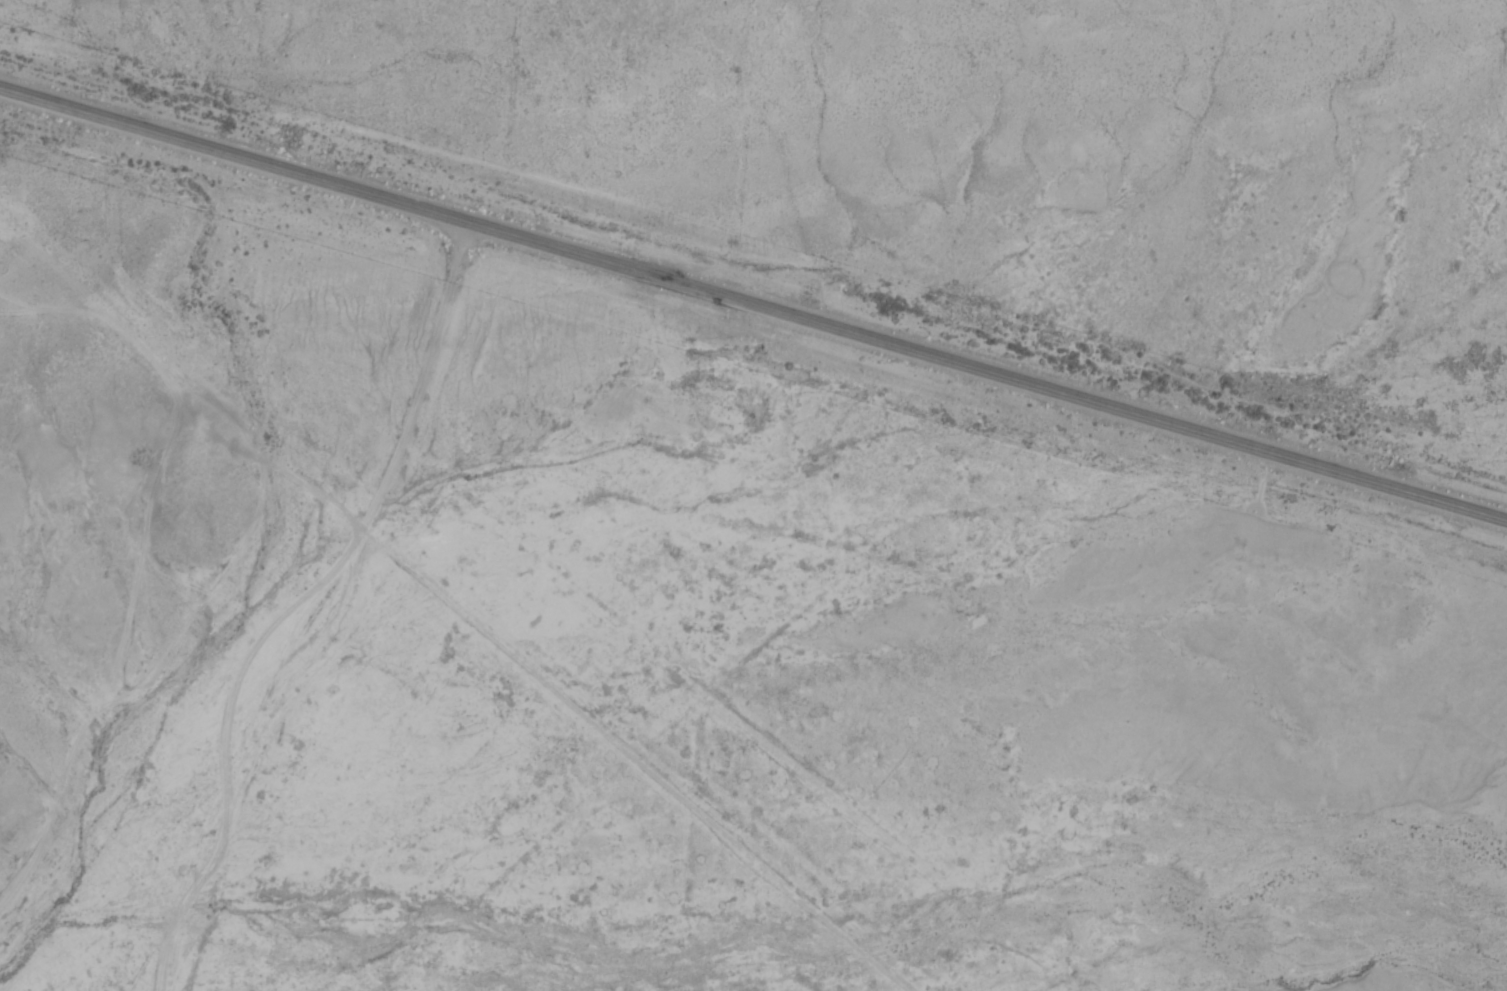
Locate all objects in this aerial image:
road: (753, 304)
road: (135, 653)
road: (888, 832)
road: (269, 839)

